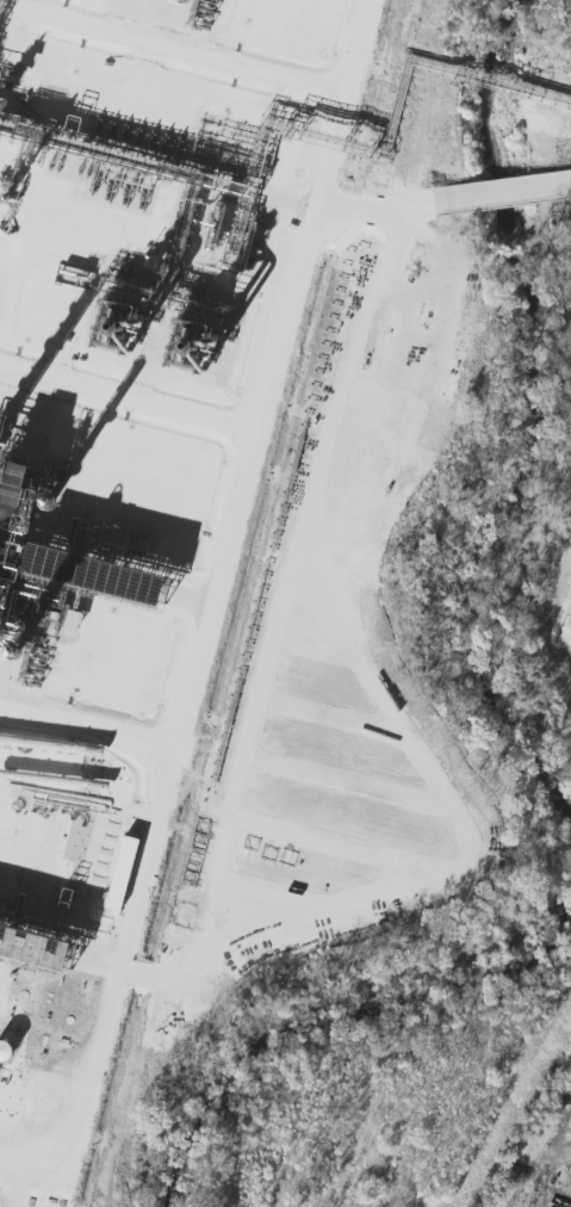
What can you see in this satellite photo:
road: (468, 206)
building: (54, 556)

